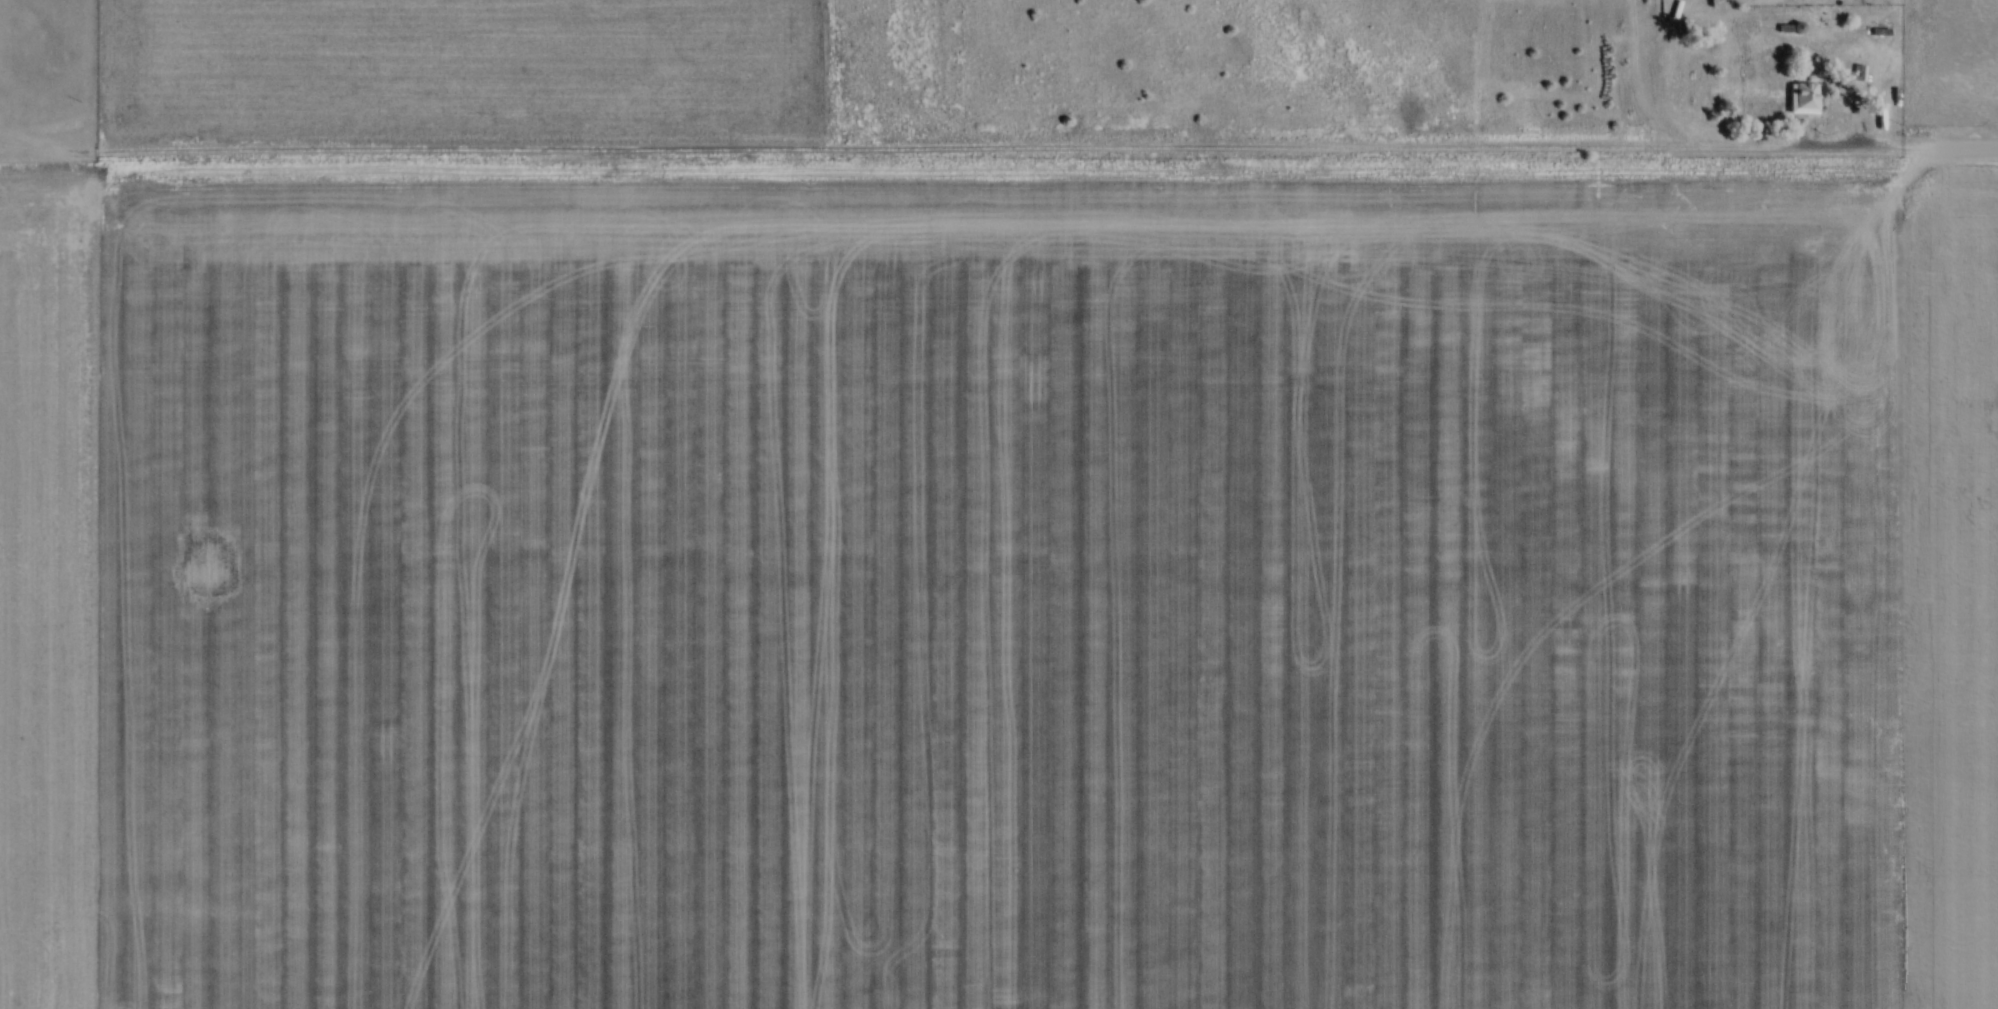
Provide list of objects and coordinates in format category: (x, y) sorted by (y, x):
building: (1859, 78)
building: (1802, 99)
road: (1860, 130)
road: (1040, 143)

